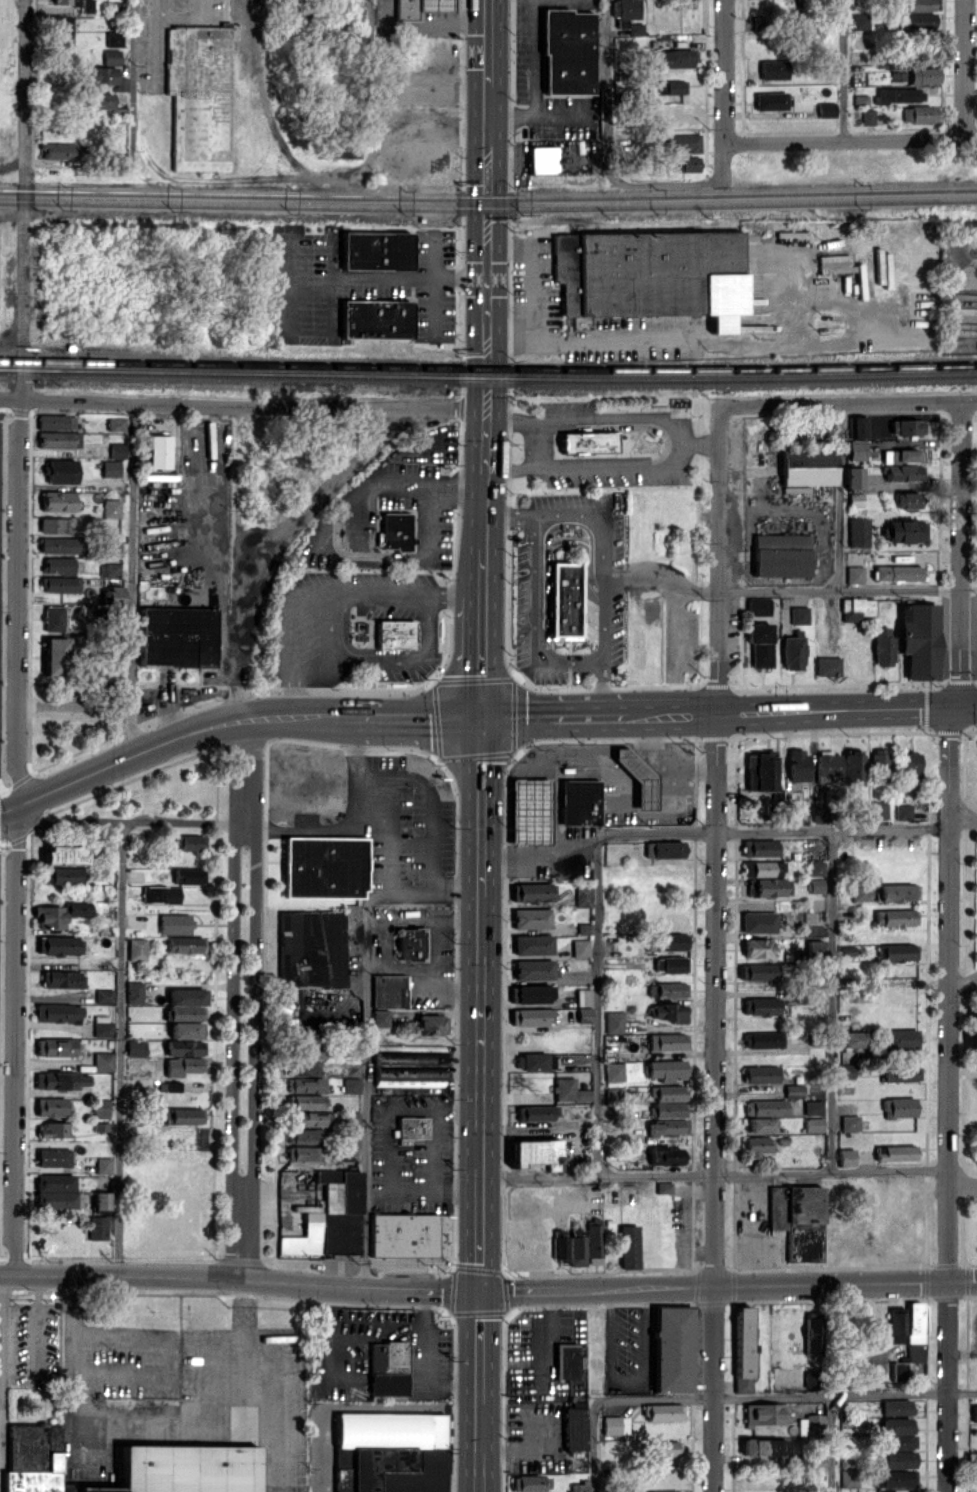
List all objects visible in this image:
building: (63, 1)
building: (921, 5)
building: (421, 8)
building: (626, 9)
building: (921, 20)
building: (861, 21)
road: (426, 28)
building: (63, 31)
road: (490, 33)
building: (116, 39)
building: (569, 52)
building: (114, 57)
road: (536, 57)
building: (677, 58)
road: (968, 68)
building: (774, 69)
road: (846, 69)
building: (899, 74)
building: (105, 75)
building: (925, 75)
road: (135, 80)
building: (672, 87)
road: (728, 87)
building: (900, 95)
building: (201, 96)
building: (772, 100)
building: (103, 101)
building: (827, 109)
building: (921, 113)
road: (539, 114)
building: (869, 116)
road: (853, 138)
building: (683, 142)
road: (608, 147)
building: (340, 150)
building: (60, 151)
building: (543, 159)
building: (691, 163)
railway: (488, 196)
railway: (488, 208)
road: (489, 237)
building: (378, 250)
building: (836, 263)
road: (531, 269)
building: (651, 274)
road: (386, 281)
building: (377, 319)
road: (649, 338)
railway: (488, 368)
railway: (488, 379)
road: (849, 403)
road: (244, 404)
road: (592, 416)
building: (58, 422)
building: (117, 423)
building: (860, 426)
building: (908, 427)
building: (60, 439)
road: (533, 441)
building: (586, 442)
road: (701, 442)
building: (119, 450)
building: (161, 451)
building: (903, 455)
road: (613, 464)
road: (510, 466)
building: (810, 466)
building: (112, 468)
building: (62, 471)
building: (905, 472)
road: (487, 476)
building: (855, 477)
road: (458, 481)
road: (841, 497)
building: (910, 500)
building: (59, 501)
building: (113, 508)
building: (58, 525)
building: (396, 531)
building: (906, 531)
building: (860, 532)
road: (963, 540)
road: (275, 542)
building: (62, 545)
building: (114, 547)
road: (368, 553)
building: (782, 554)
road: (602, 556)
building: (60, 565)
road: (484, 568)
building: (111, 569)
building: (898, 573)
building: (856, 574)
road: (662, 578)
road: (133, 579)
building: (63, 584)
road: (330, 590)
road: (848, 590)
building: (113, 595)
building: (566, 599)
building: (760, 606)
building: (858, 608)
road: (538, 615)
building: (800, 615)
building: (54, 618)
building: (396, 633)
road: (20, 636)
building: (179, 637)
building: (920, 640)
building: (761, 644)
building: (884, 646)
building: (794, 651)
building: (57, 656)
road: (482, 656)
building: (830, 666)
road: (959, 693)
road: (966, 706)
traffic signals: (956, 707)
road: (812, 709)
road: (645, 713)
road: (265, 716)
road: (551, 716)
road: (318, 717)
road: (351, 717)
road: (420, 718)
traffic signals: (481, 719)
road: (950, 746)
road: (360, 757)
road: (118, 763)
road: (678, 763)
building: (799, 764)
building: (911, 765)
building: (829, 766)
building: (880, 766)
building: (854, 767)
building: (761, 771)
building: (639, 776)
road: (554, 778)
road: (405, 779)
road: (962, 801)
building: (581, 802)
road: (481, 806)
building: (881, 809)
building: (530, 810)
building: (819, 812)
building: (905, 812)
road: (182, 824)
road: (313, 827)
road: (775, 832)
building: (191, 842)
building: (760, 848)
building: (665, 849)
building: (66, 854)
building: (326, 866)
building: (818, 867)
building: (764, 868)
building: (63, 875)
building: (188, 875)
building: (817, 885)
building: (768, 886)
building: (534, 892)
building: (862, 892)
building: (900, 892)
building: (162, 894)
building: (584, 896)
road: (426, 902)
building: (79, 908)
building: (50, 916)
building: (897, 917)
building: (532, 918)
building: (759, 922)
building: (176, 924)
building: (669, 941)
building: (412, 943)
building: (185, 944)
building: (534, 944)
building: (59, 945)
building: (758, 947)
building: (581, 948)
road: (718, 948)
building: (816, 948)
building: (138, 949)
building: (313, 949)
building: (900, 952)
road: (236, 955)
road: (257, 955)
building: (674, 964)
building: (534, 969)
building: (758, 971)
building: (62, 979)
building: (668, 989)
road: (963, 989)
building: (135, 992)
building: (531, 994)
building: (105, 995)
building: (388, 996)
building: (584, 997)
road: (833, 1001)
building: (187, 1003)
road: (597, 1004)
building: (762, 1006)
building: (668, 1011)
building: (59, 1012)
building: (585, 1014)
building: (535, 1016)
road: (481, 1022)
building: (615, 1022)
building: (432, 1024)
building: (103, 1026)
building: (187, 1030)
road: (950, 1034)
building: (903, 1038)
building: (764, 1039)
building: (855, 1039)
building: (668, 1041)
building: (974, 1044)
building: (56, 1047)
road: (122, 1047)
building: (136, 1047)
building: (185, 1057)
building: (104, 1061)
building: (538, 1061)
building: (410, 1065)
building: (305, 1068)
building: (667, 1069)
building: (614, 1071)
building: (848, 1071)
building: (763, 1074)
building: (902, 1074)
building: (61, 1080)
building: (306, 1085)
building: (353, 1085)
building: (173, 1086)
building: (569, 1090)
building: (794, 1091)
road: (369, 1095)
building: (308, 1101)
building: (669, 1101)
building: (52, 1107)
building: (766, 1107)
building: (814, 1107)
building: (900, 1107)
building: (537, 1112)
building: (102, 1114)
building: (182, 1116)
building: (308, 1119)
building: (851, 1123)
building: (761, 1124)
building: (814, 1124)
building: (413, 1127)
building: (668, 1127)
building: (54, 1129)
building: (305, 1136)
building: (758, 1145)
building: (536, 1152)
building: (303, 1153)
building: (896, 1153)
building: (350, 1154)
building: (667, 1155)
building: (54, 1157)
building: (847, 1157)
building: (104, 1165)
road: (716, 1174)
road: (963, 1184)
building: (664, 1187)
building: (102, 1200)
road: (758, 1214)
building: (331, 1217)
building: (799, 1219)
road: (482, 1220)
building: (99, 1227)
road: (243, 1234)
building: (404, 1234)
building: (595, 1238)
building: (560, 1245)
building: (630, 1246)
building: (579, 1247)
parking lot: (758, 1256)
road: (59, 1273)
road: (300, 1282)
road: (963, 1282)
road: (715, 1287)
traffic signals: (482, 1291)
road: (38, 1324)
building: (897, 1324)
building: (916, 1332)
building: (813, 1333)
road: (482, 1347)
building: (673, 1349)
building: (744, 1349)
road: (1, 1351)
building: (566, 1360)
building: (388, 1367)
building: (899, 1371)
building: (812, 1379)
road: (949, 1387)
road: (786, 1397)
building: (897, 1407)
building: (763, 1413)
building: (974, 1413)
road: (158, 1422)
building: (616, 1424)
building: (811, 1424)
building: (574, 1428)
building: (899, 1434)
road: (832, 1444)
building: (381, 1445)
road: (481, 1447)
road: (595, 1447)
building: (765, 1447)
building: (666, 1448)
building: (32, 1459)
building: (897, 1459)
building: (816, 1461)
building: (182, 1471)
building: (849, 1473)
building: (894, 1480)
building: (531, 1483)
building: (579, 1486)
building: (662, 1491)

